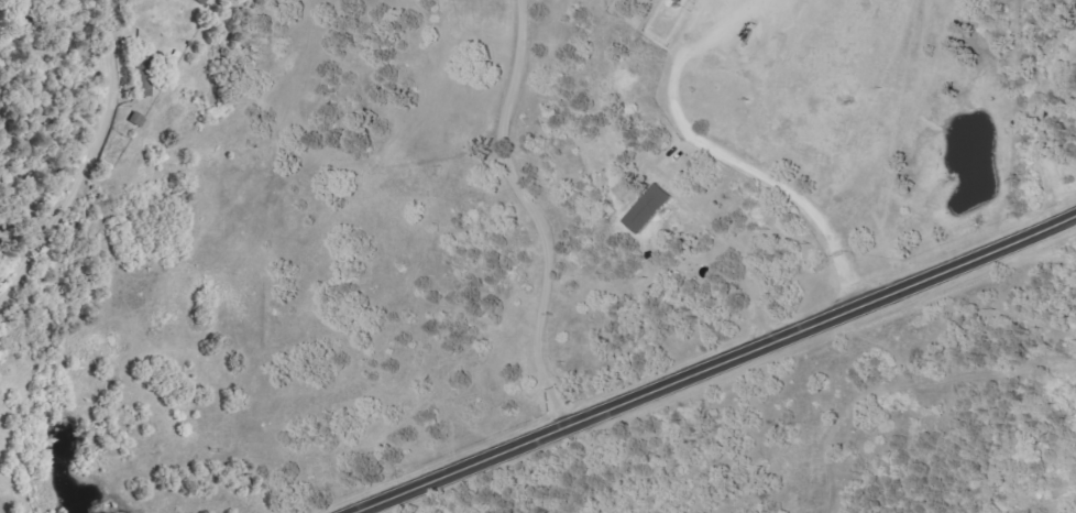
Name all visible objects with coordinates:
building: (202, 1)
petroleum well: (740, 23)
road: (1007, 100)
road: (89, 163)
building: (650, 209)
road: (710, 361)

